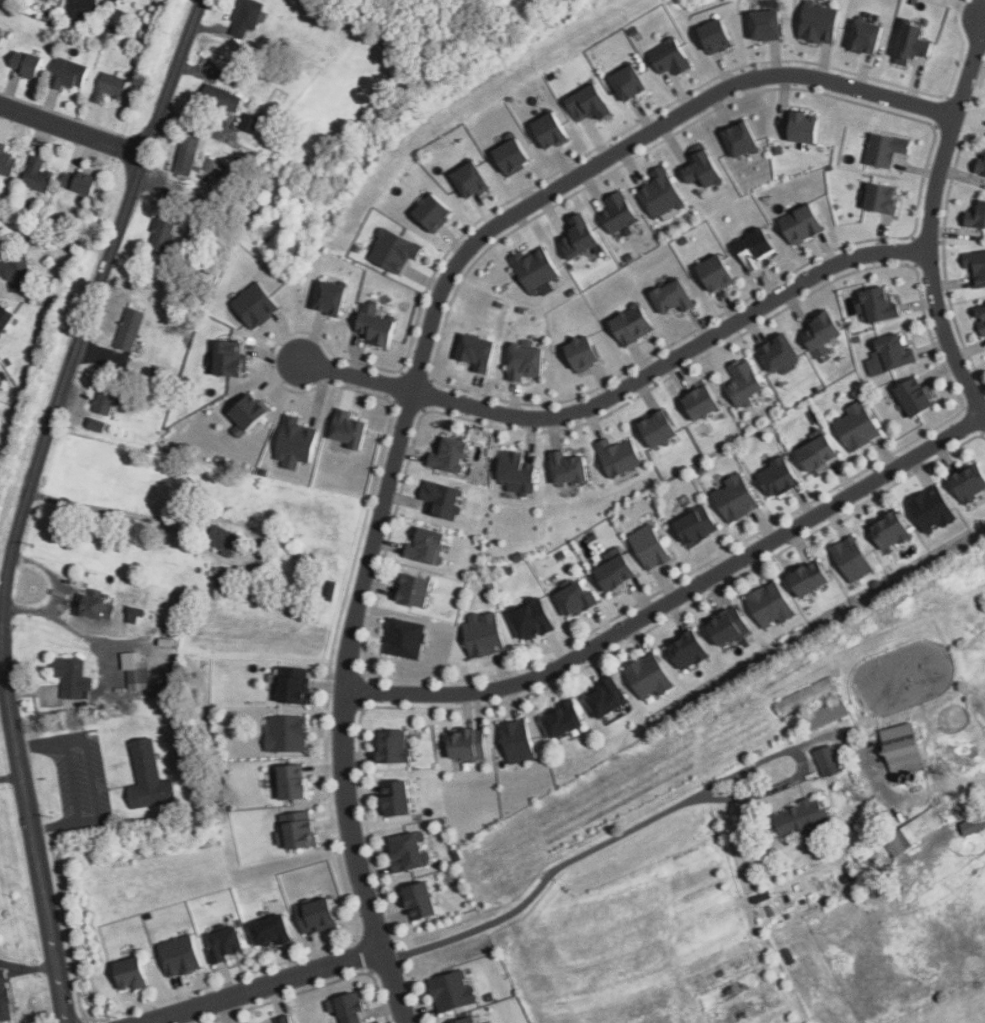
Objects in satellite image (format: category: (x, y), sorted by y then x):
building: (328, 0)
building: (116, 1)
building: (82, 10)
building: (246, 16)
building: (818, 22)
building: (766, 25)
building: (715, 36)
building: (1, 37)
building: (866, 37)
building: (911, 44)
building: (670, 58)
building: (26, 63)
building: (67, 73)
building: (227, 76)
building: (629, 83)
building: (110, 86)
building: (220, 96)
building: (588, 103)
building: (249, 122)
road: (72, 127)
building: (548, 129)
building: (809, 129)
building: (740, 139)
building: (888, 150)
building: (187, 151)
building: (509, 156)
building: (980, 163)
building: (6, 164)
building: (215, 166)
building: (703, 170)
building: (37, 174)
building: (470, 180)
building: (78, 182)
building: (660, 193)
building: (885, 198)
building: (430, 212)
building: (617, 212)
building: (977, 214)
road: (930, 220)
building: (806, 224)
building: (200, 225)
building: (162, 233)
building: (578, 237)
building: (1, 239)
building: (761, 249)
building: (392, 250)
building: (979, 266)
building: (534, 271)
building: (17, 274)
building: (721, 274)
building: (330, 297)
building: (678, 298)
building: (255, 305)
road: (91, 306)
building: (881, 308)
building: (983, 309)
building: (5, 316)
building: (635, 326)
building: (982, 326)
building: (378, 328)
building: (128, 330)
building: (821, 332)
building: (778, 350)
building: (480, 353)
building: (586, 354)
building: (890, 355)
building: (229, 359)
building: (528, 363)
road: (415, 367)
building: (156, 371)
building: (743, 382)
road: (625, 388)
building: (915, 398)
building: (701, 401)
building: (106, 402)
building: (249, 411)
building: (95, 426)
building: (658, 428)
building: (856, 428)
building: (351, 431)
building: (294, 442)
building: (450, 455)
building: (817, 455)
building: (618, 456)
building: (567, 467)
building: (702, 471)
building: (517, 472)
building: (777, 479)
building: (969, 483)
building: (443, 499)
building: (735, 500)
building: (931, 511)
road: (212, 517)
building: (697, 528)
building: (889, 532)
building: (222, 541)
building: (428, 545)
building: (650, 549)
building: (561, 557)
building: (851, 561)
building: (507, 572)
building: (614, 577)
building: (226, 581)
building: (807, 581)
building: (415, 590)
road: (56, 592)
building: (330, 593)
road: (671, 597)
building: (574, 601)
building: (769, 606)
building: (94, 609)
building: (134, 618)
building: (530, 622)
building: (727, 628)
building: (403, 639)
building: (482, 639)
building: (687, 652)
building: (136, 672)
building: (649, 677)
building: (72, 681)
road: (102, 688)
building: (293, 688)
building: (606, 696)
building: (805, 696)
building: (824, 714)
building: (562, 718)
road: (7, 726)
building: (288, 735)
road: (849, 740)
building: (516, 741)
building: (466, 744)
building: (395, 747)
building: (903, 749)
building: (829, 760)
road: (8, 776)
road: (90, 778)
building: (147, 778)
building: (293, 786)
road: (708, 795)
building: (398, 798)
building: (802, 818)
building: (972, 825)
building: (296, 830)
building: (914, 831)
building: (407, 852)
road: (41, 899)
building: (417, 901)
building: (314, 916)
building: (270, 932)
building: (223, 945)
building: (179, 955)
road: (327, 964)
road: (27, 968)
building: (132, 974)
building: (451, 992)
building: (4, 997)
building: (349, 1009)
building: (282, 1020)
building: (465, 1021)

